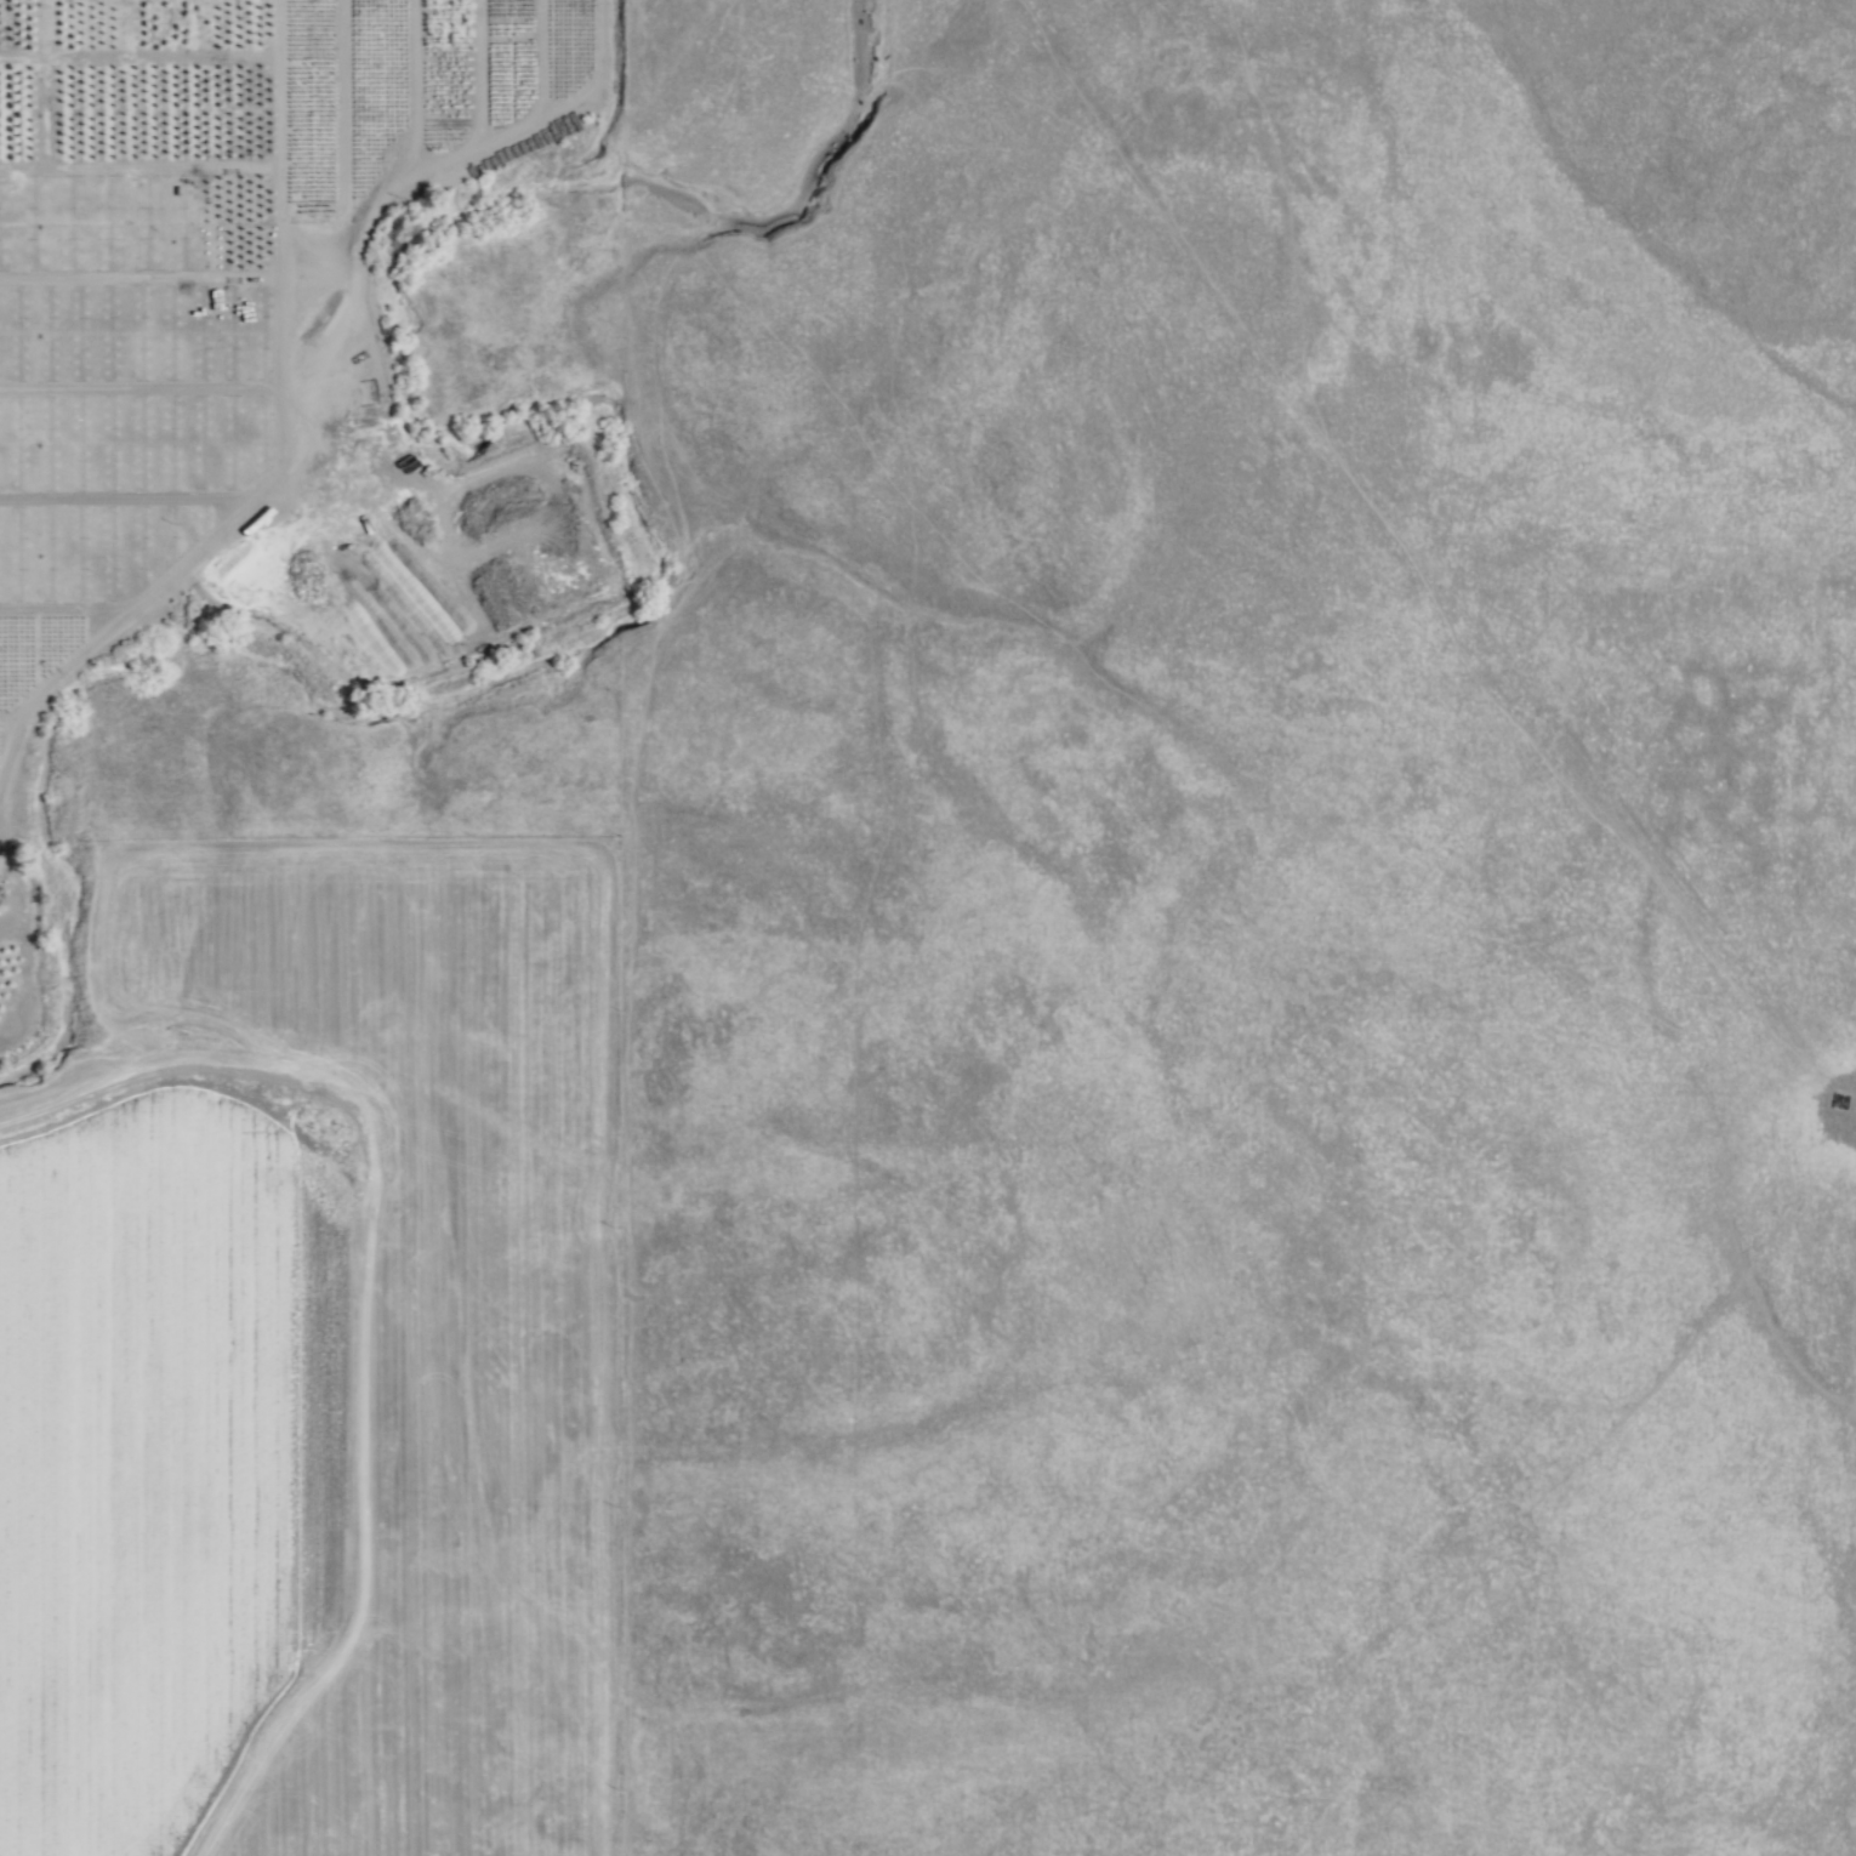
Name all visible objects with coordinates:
road: (284, 446)
building: (0, 869)

